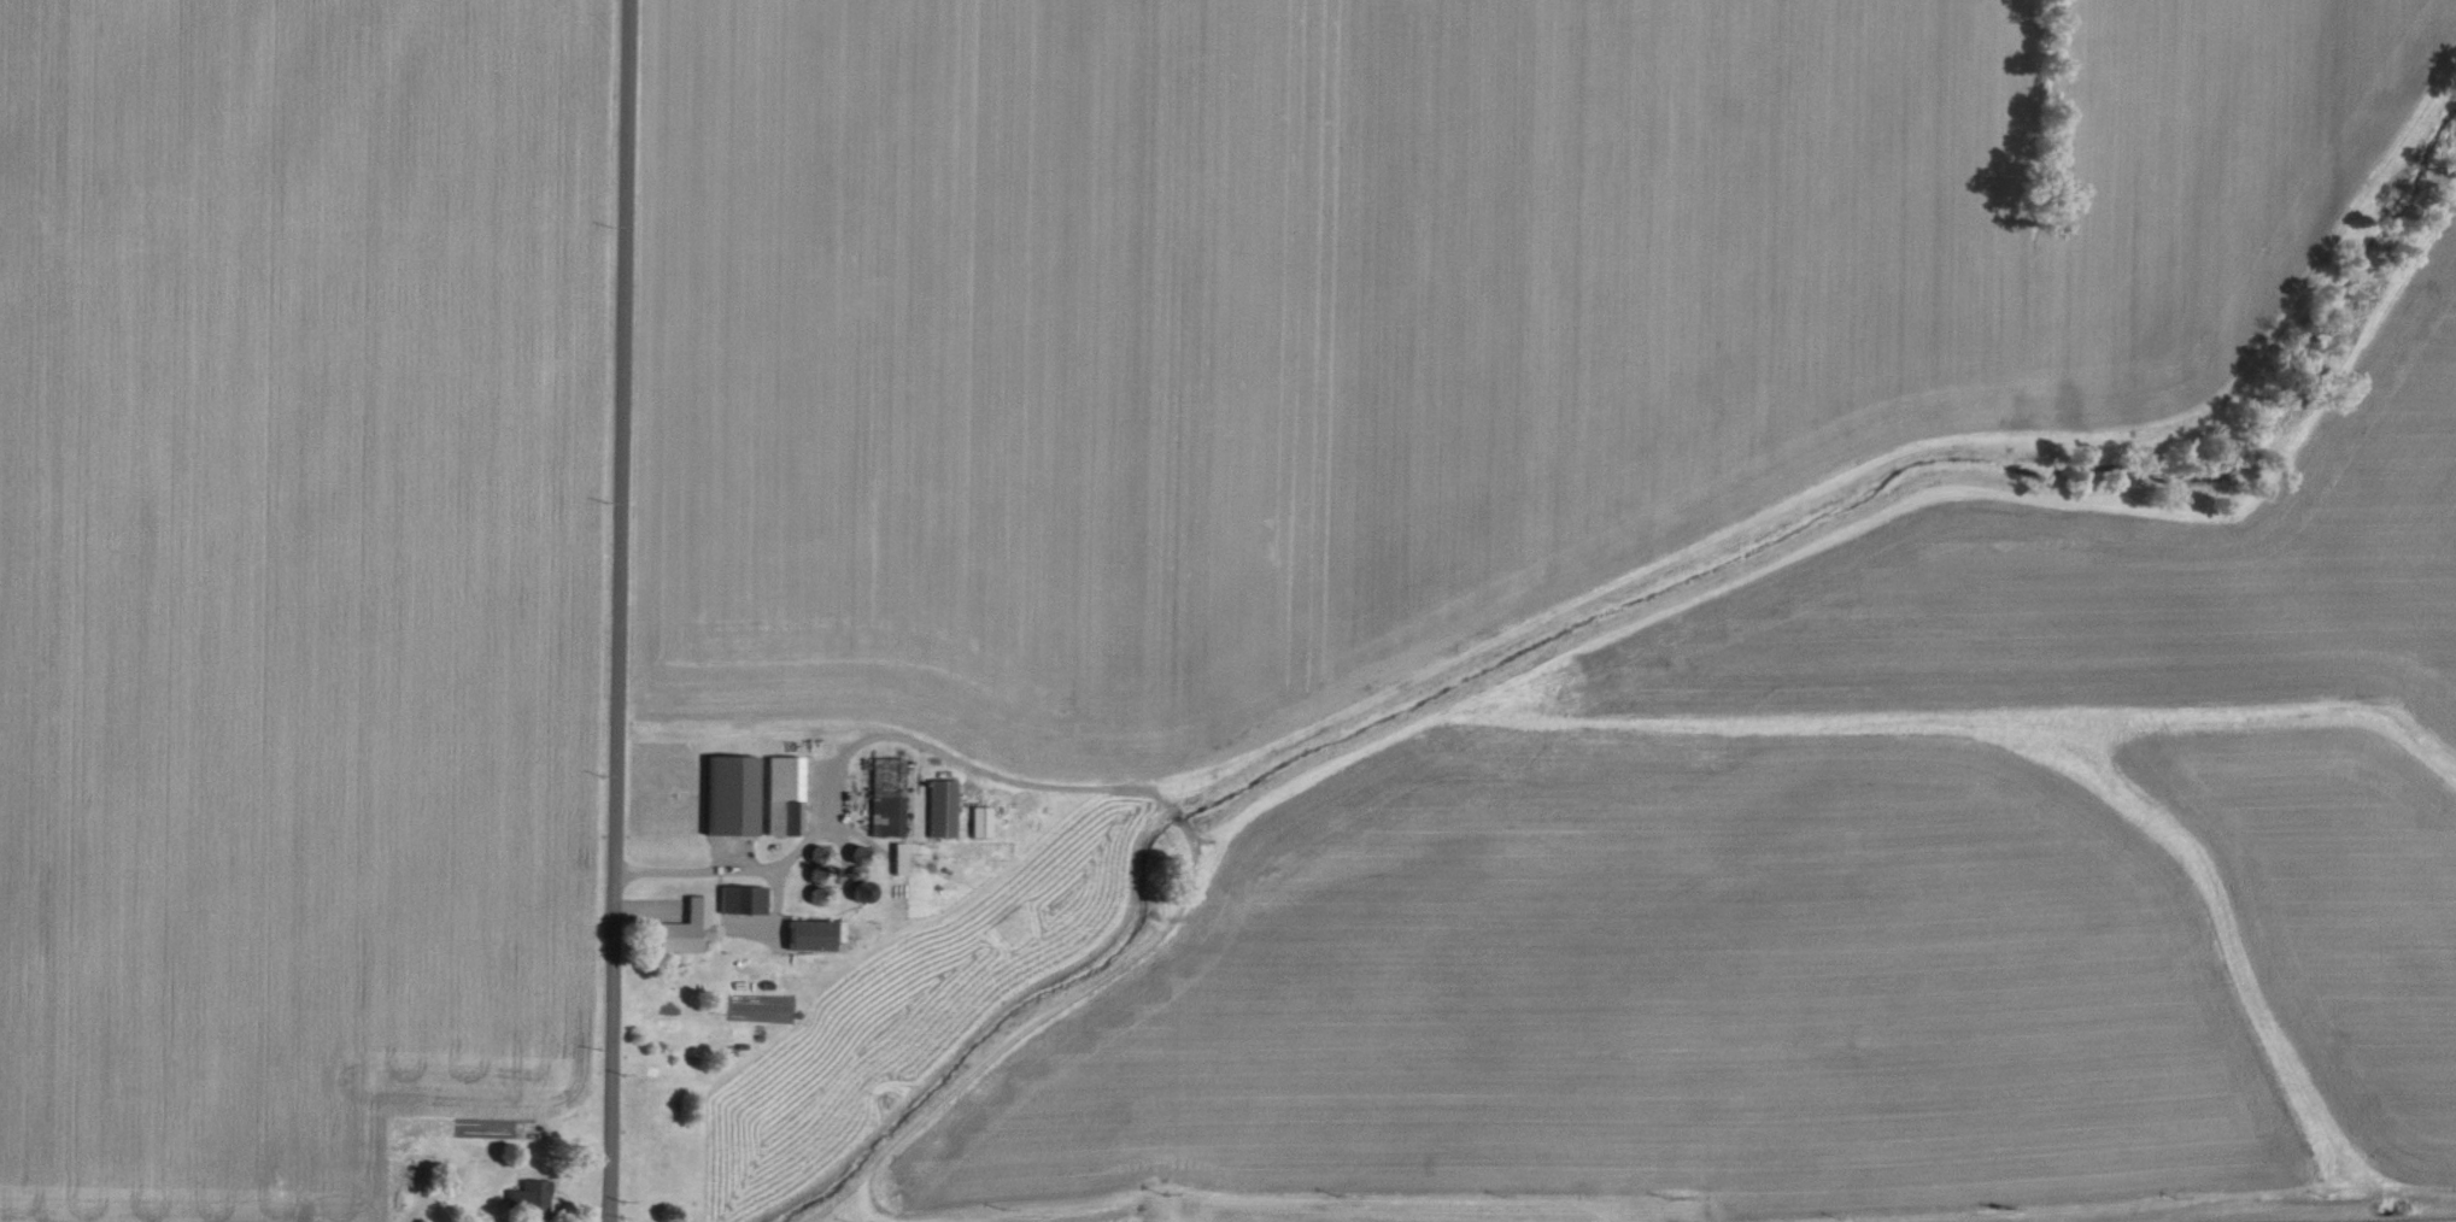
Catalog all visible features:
road: (621, 611)
building: (726, 794)
building: (778, 795)
building: (884, 795)
building: (939, 807)
building: (977, 822)
road: (740, 864)
building: (739, 899)
building: (681, 928)
building: (805, 934)
building: (526, 1199)

